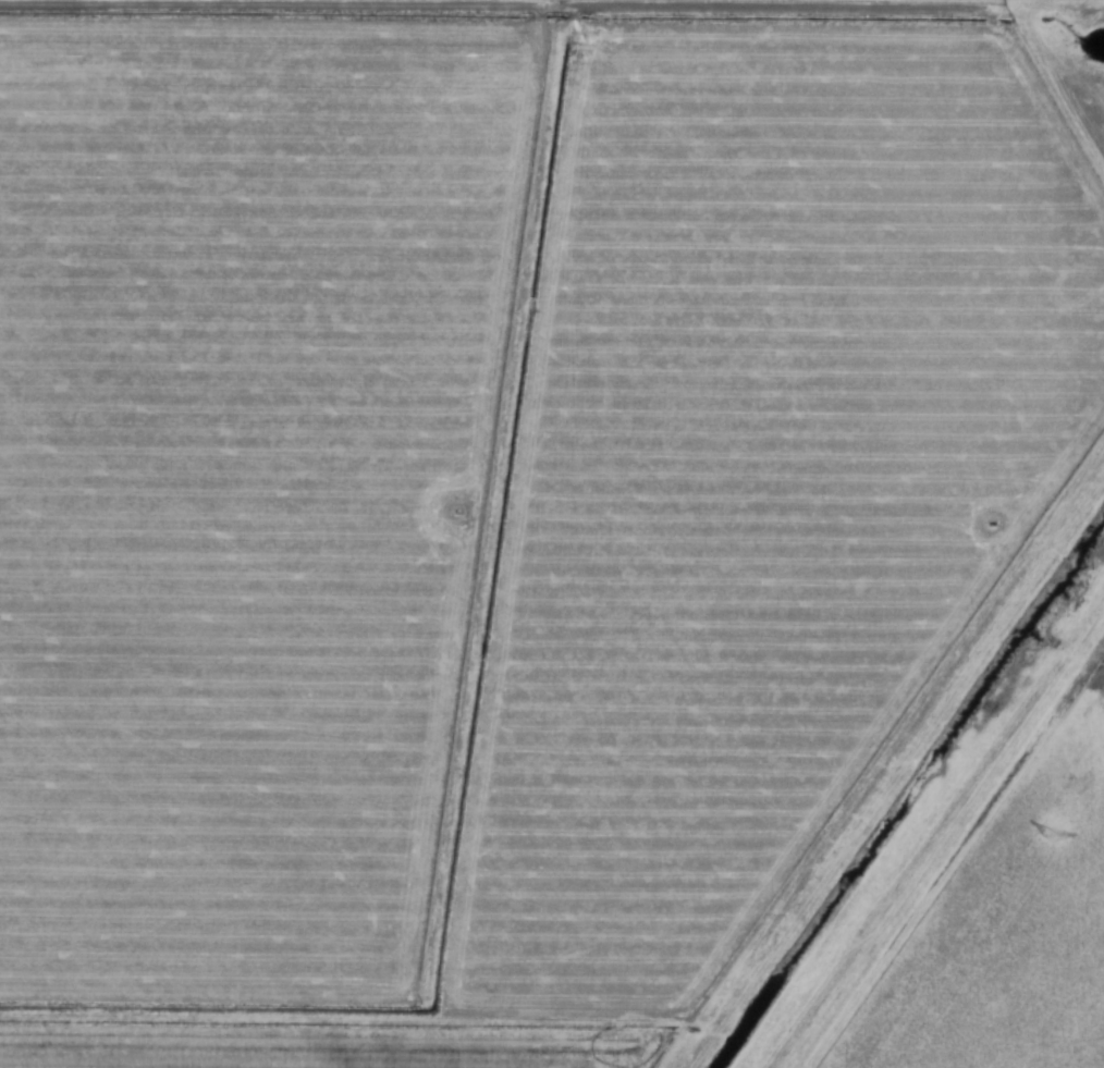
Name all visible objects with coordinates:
power tower: (1045, 838)

